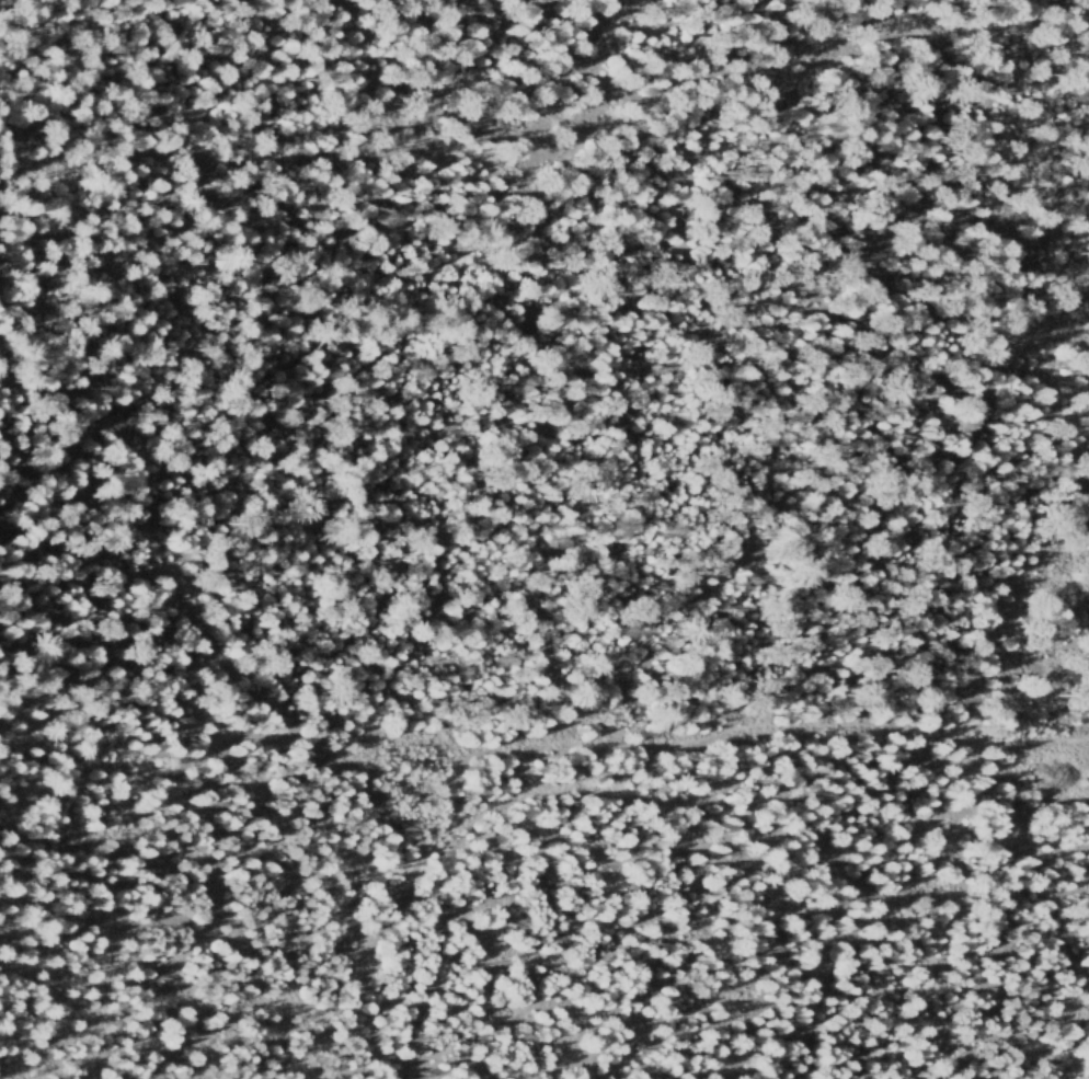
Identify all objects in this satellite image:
road: (901, 732)

